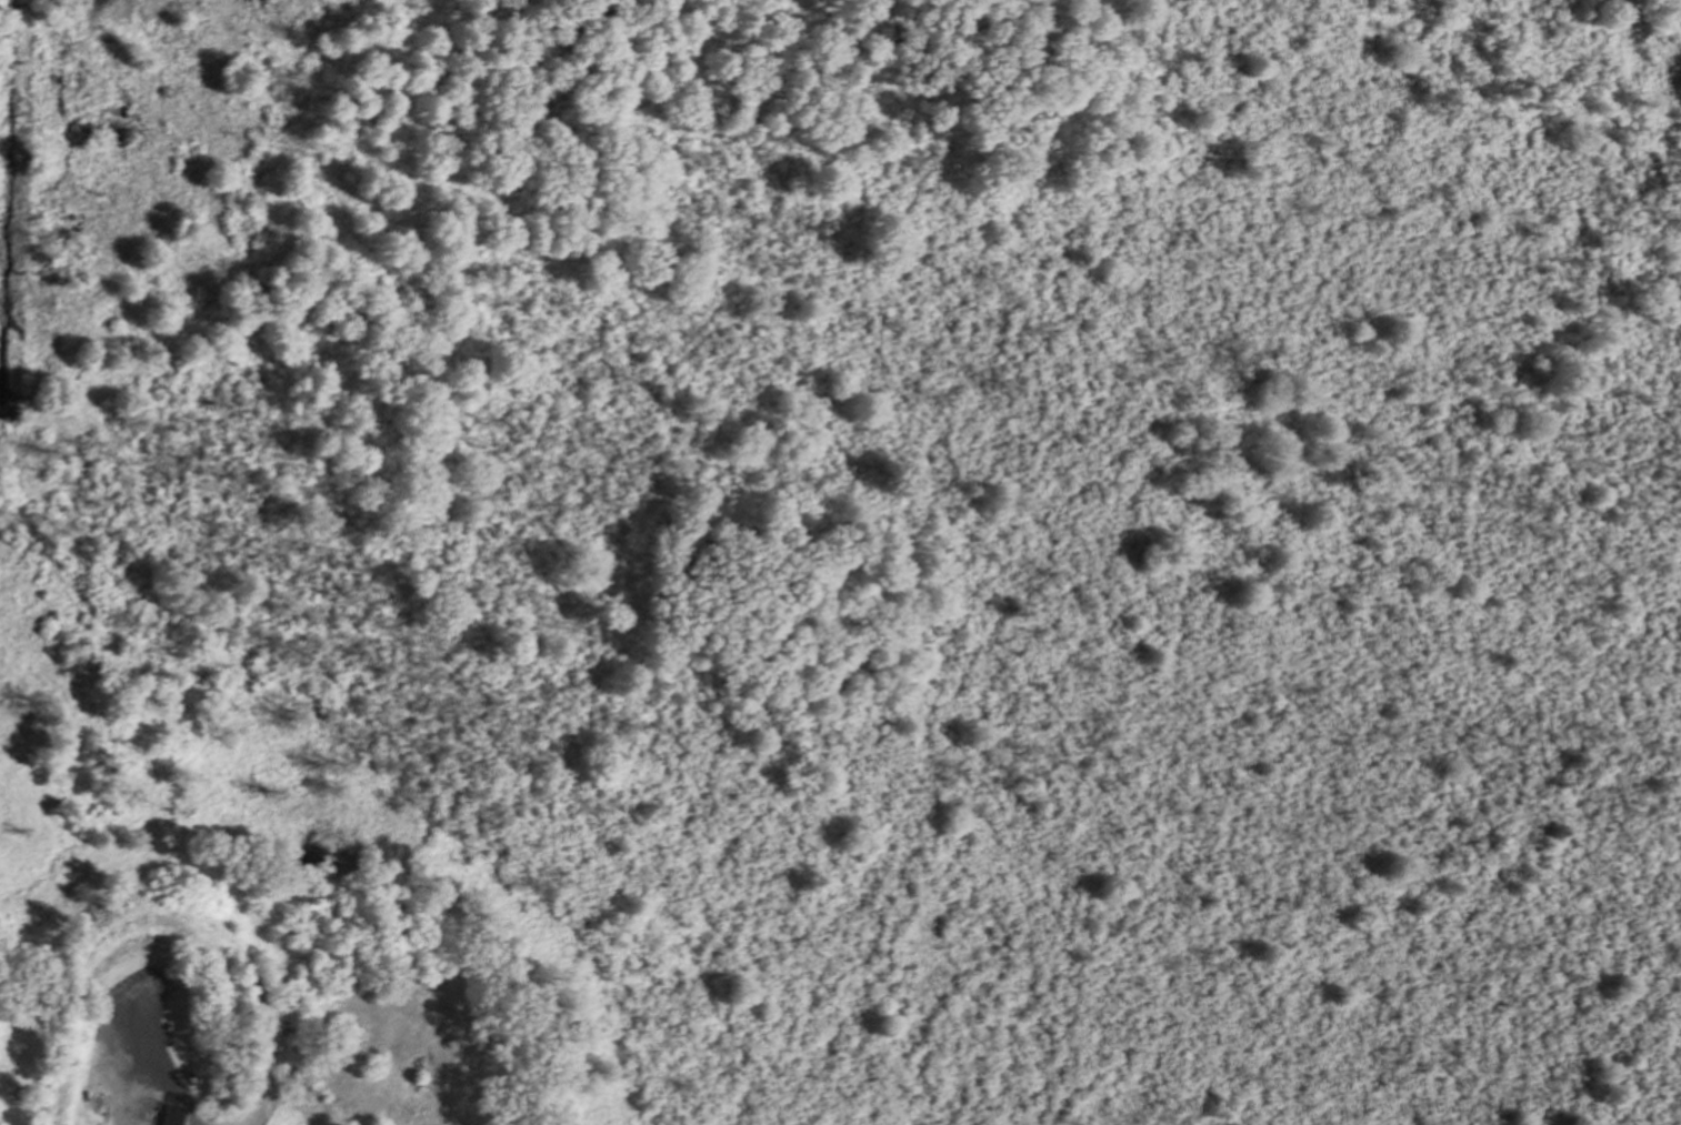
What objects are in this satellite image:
building: (168, 1115)

